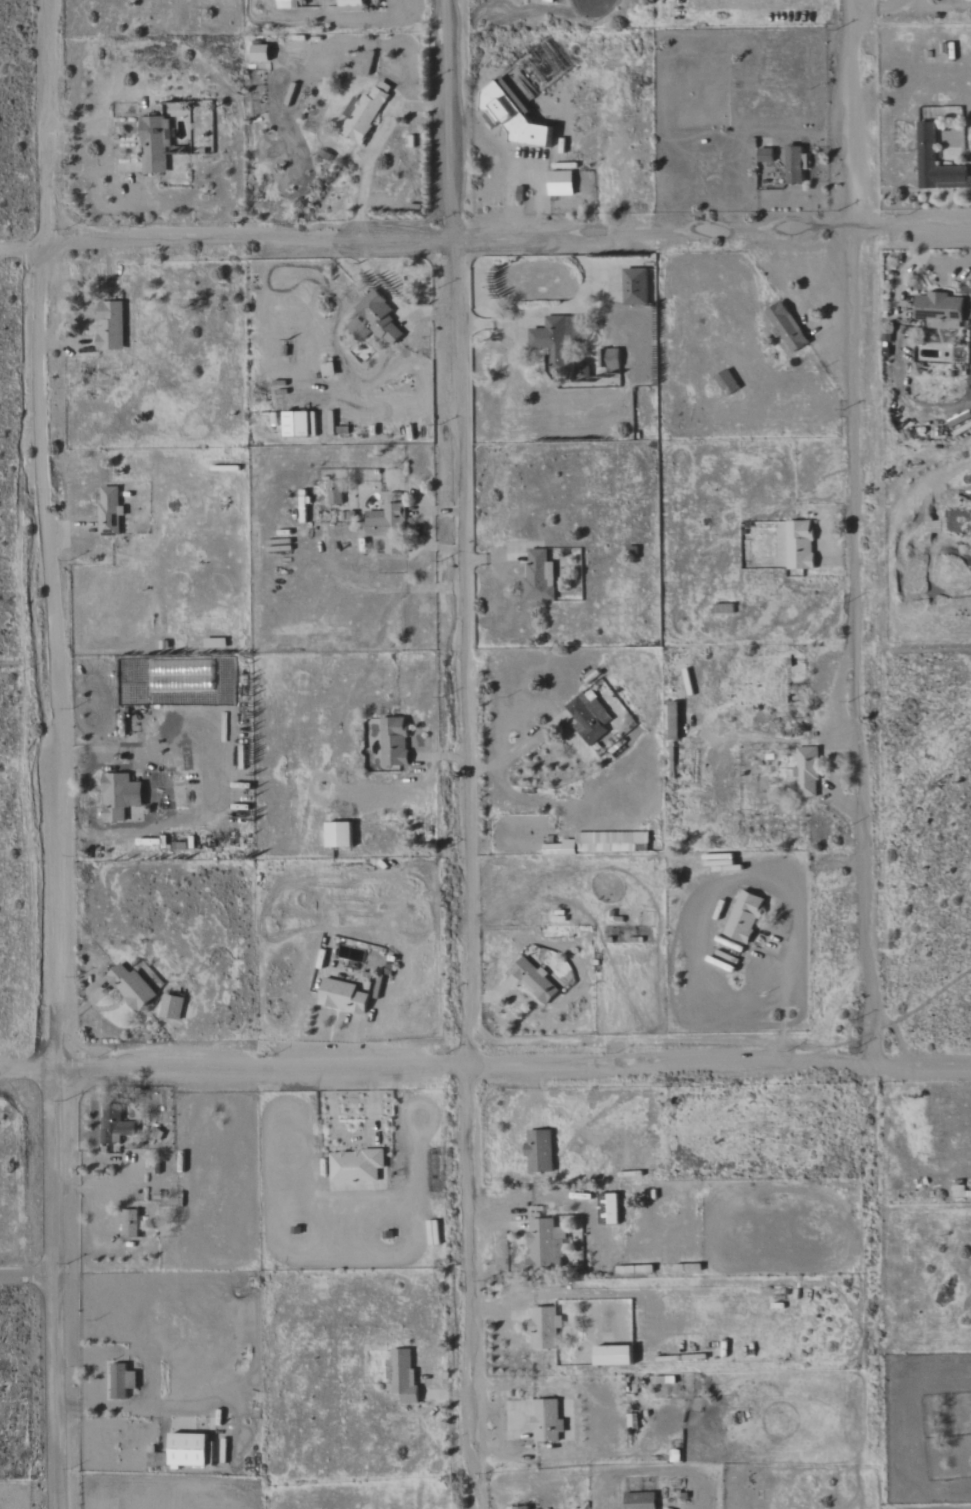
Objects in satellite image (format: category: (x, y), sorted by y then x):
building: (350, 3)
building: (287, 4)
road: (873, 12)
building: (260, 52)
building: (363, 113)
building: (512, 116)
road: (809, 138)
building: (153, 144)
building: (926, 144)
road: (375, 147)
building: (795, 164)
road: (89, 168)
building: (560, 182)
road: (539, 193)
road: (950, 206)
road: (485, 238)
road: (910, 264)
road: (823, 277)
building: (635, 286)
road: (390, 298)
building: (940, 310)
road: (551, 311)
building: (379, 317)
building: (110, 325)
building: (787, 326)
building: (609, 358)
building: (726, 382)
building: (296, 423)
building: (335, 492)
road: (50, 502)
building: (109, 511)
building: (387, 526)
road: (425, 528)
road: (462, 533)
road: (859, 533)
building: (800, 544)
road: (493, 555)
building: (539, 575)
road: (26, 662)
building: (589, 717)
building: (674, 727)
building: (394, 741)
road: (517, 753)
building: (807, 772)
building: (119, 796)
building: (339, 835)
building: (603, 843)
building: (745, 917)
road: (790, 934)
building: (534, 980)
building: (130, 987)
building: (343, 996)
building: (171, 1007)
road: (52, 1037)
road: (540, 1067)
road: (26, 1069)
road: (81, 1069)
building: (114, 1125)
road: (356, 1139)
building: (539, 1150)
building: (356, 1165)
building: (612, 1208)
building: (130, 1223)
building: (543, 1243)
road: (27, 1275)
road: (55, 1288)
road: (474, 1288)
road: (502, 1314)
building: (545, 1327)
building: (613, 1354)
building: (403, 1375)
building: (121, 1381)
road: (126, 1406)
building: (547, 1420)
building: (188, 1449)
road: (525, 1490)
building: (640, 1500)
building: (518, 1507)

